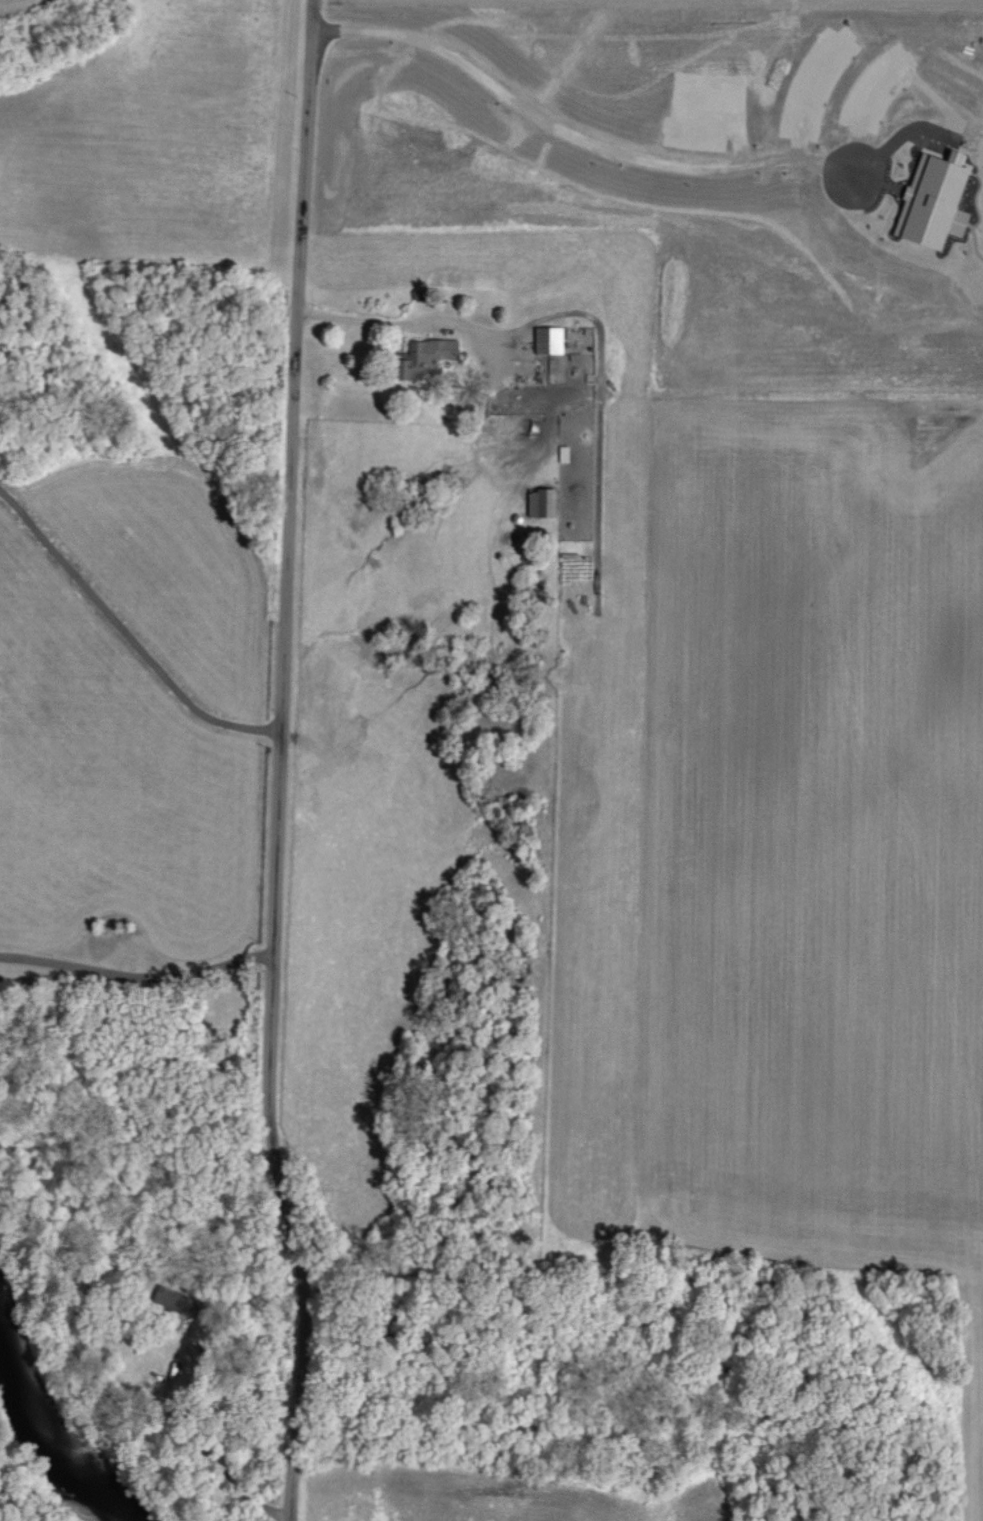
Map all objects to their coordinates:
building: (934, 202)
road: (462, 324)
building: (549, 340)
building: (427, 356)
building: (541, 503)
road: (127, 634)
road: (280, 762)
road: (137, 972)
building: (176, 1301)
river: (48, 1461)

